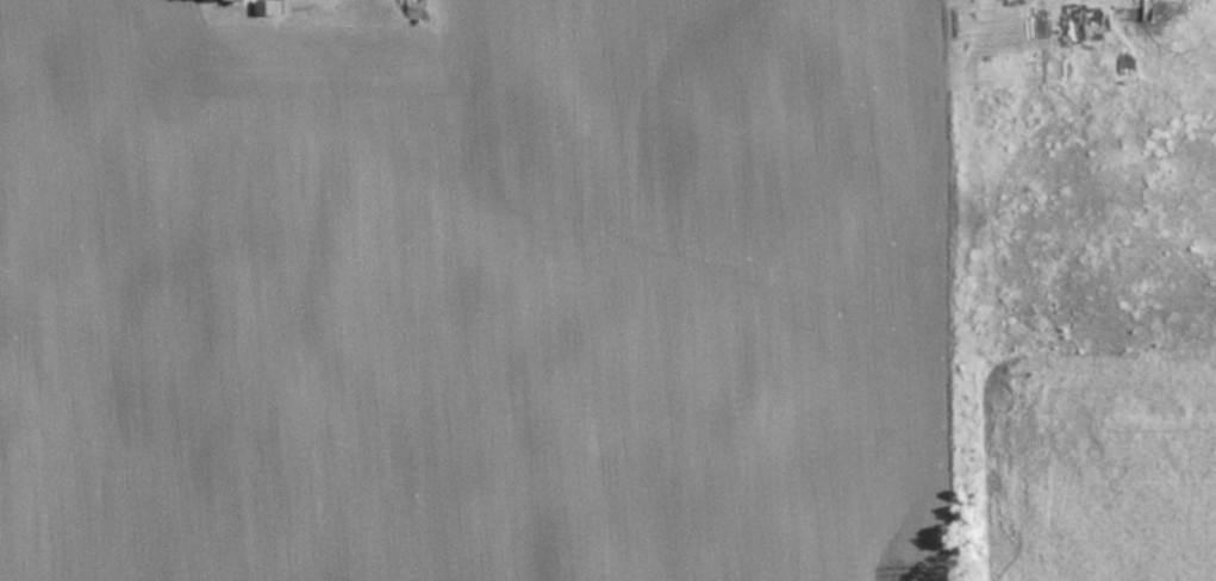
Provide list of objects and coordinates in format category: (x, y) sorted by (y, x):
building: (266, 6)
building: (1075, 21)

